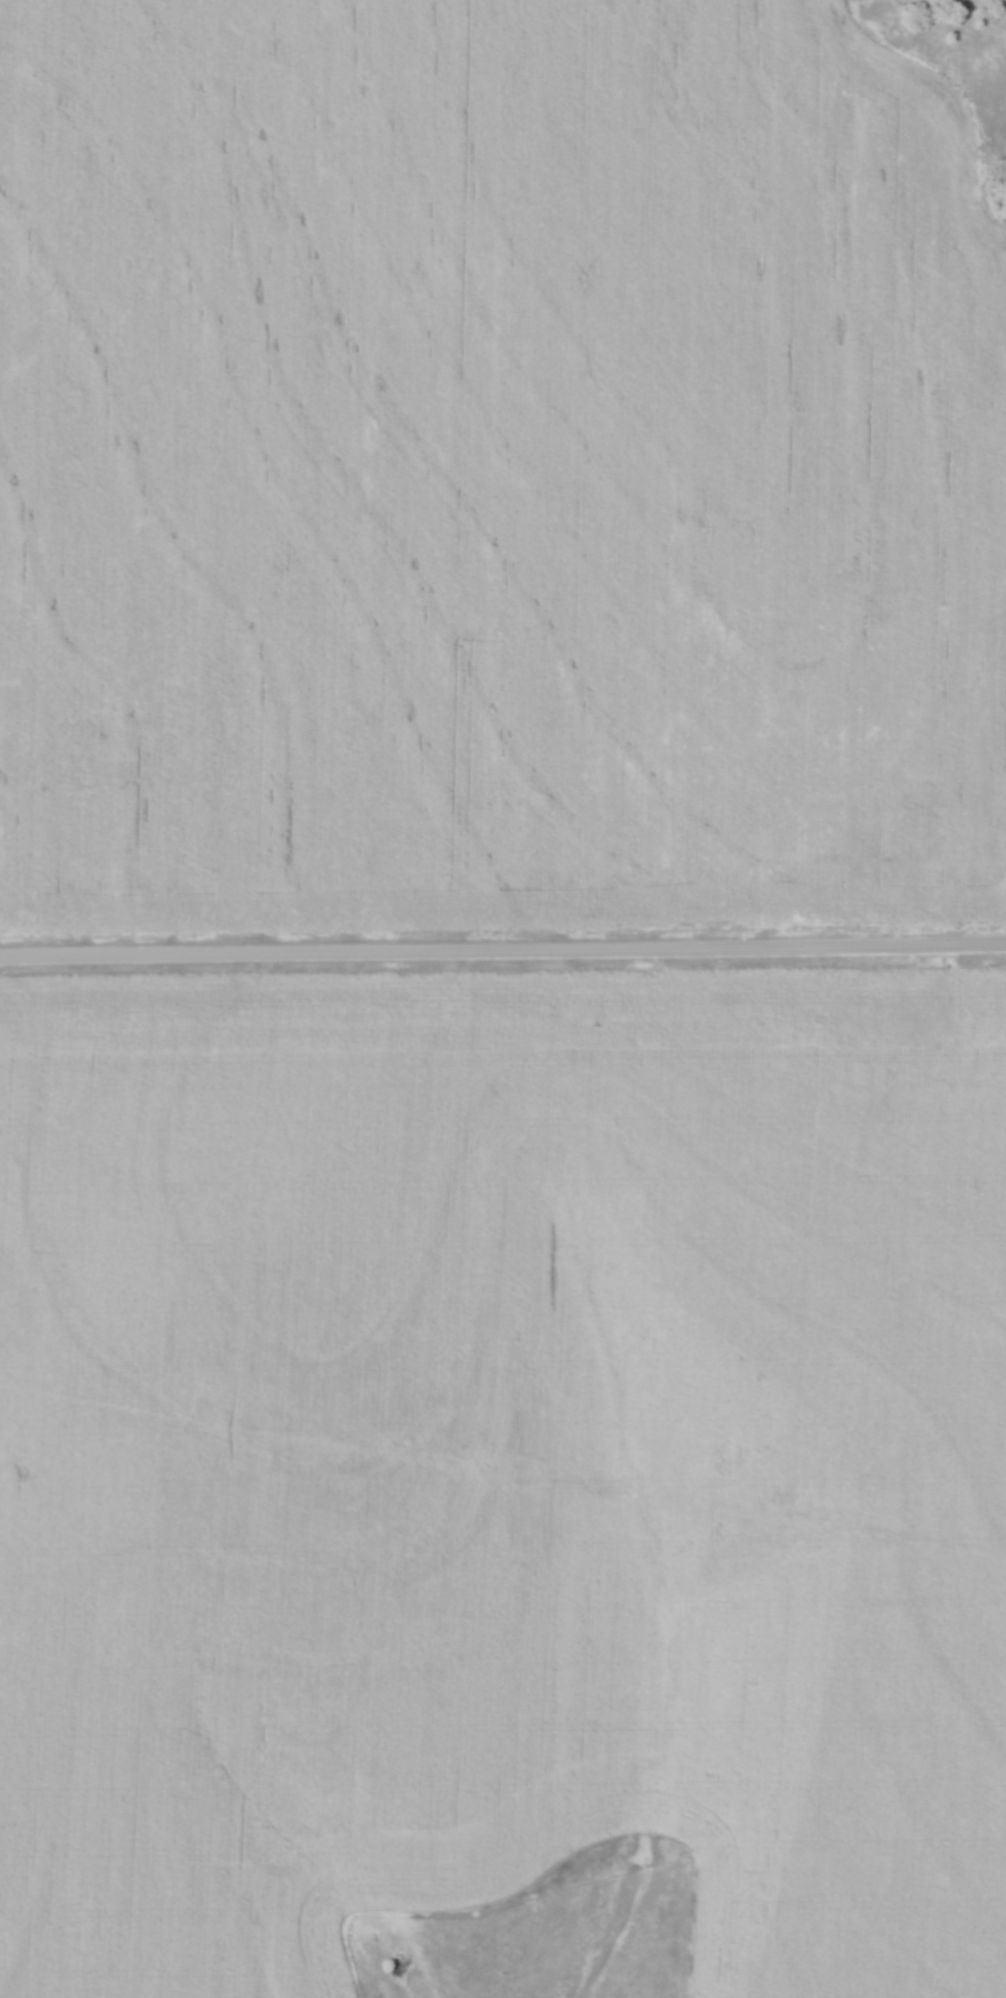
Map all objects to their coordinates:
road: (503, 949)

